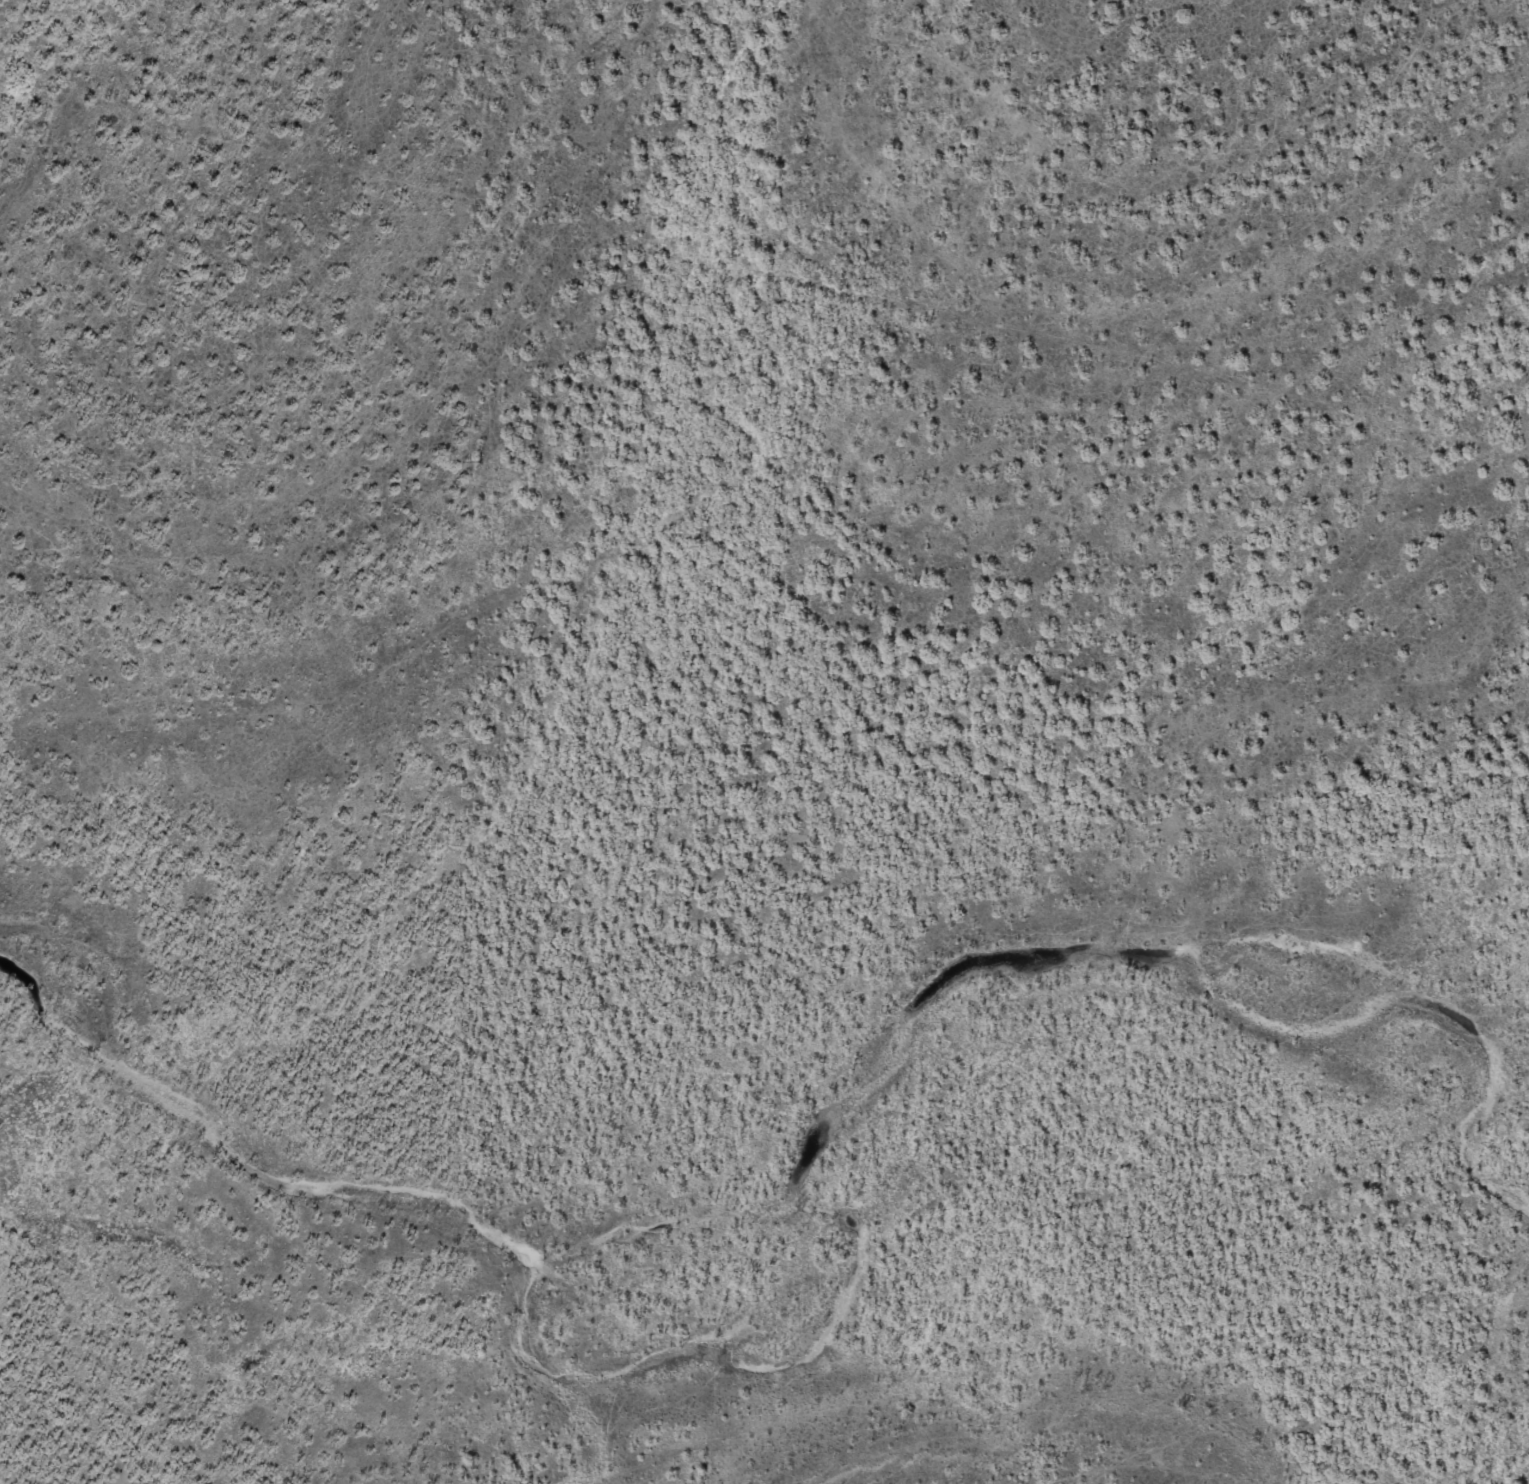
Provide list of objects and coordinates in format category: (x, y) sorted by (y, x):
road: (1009, 1359)

